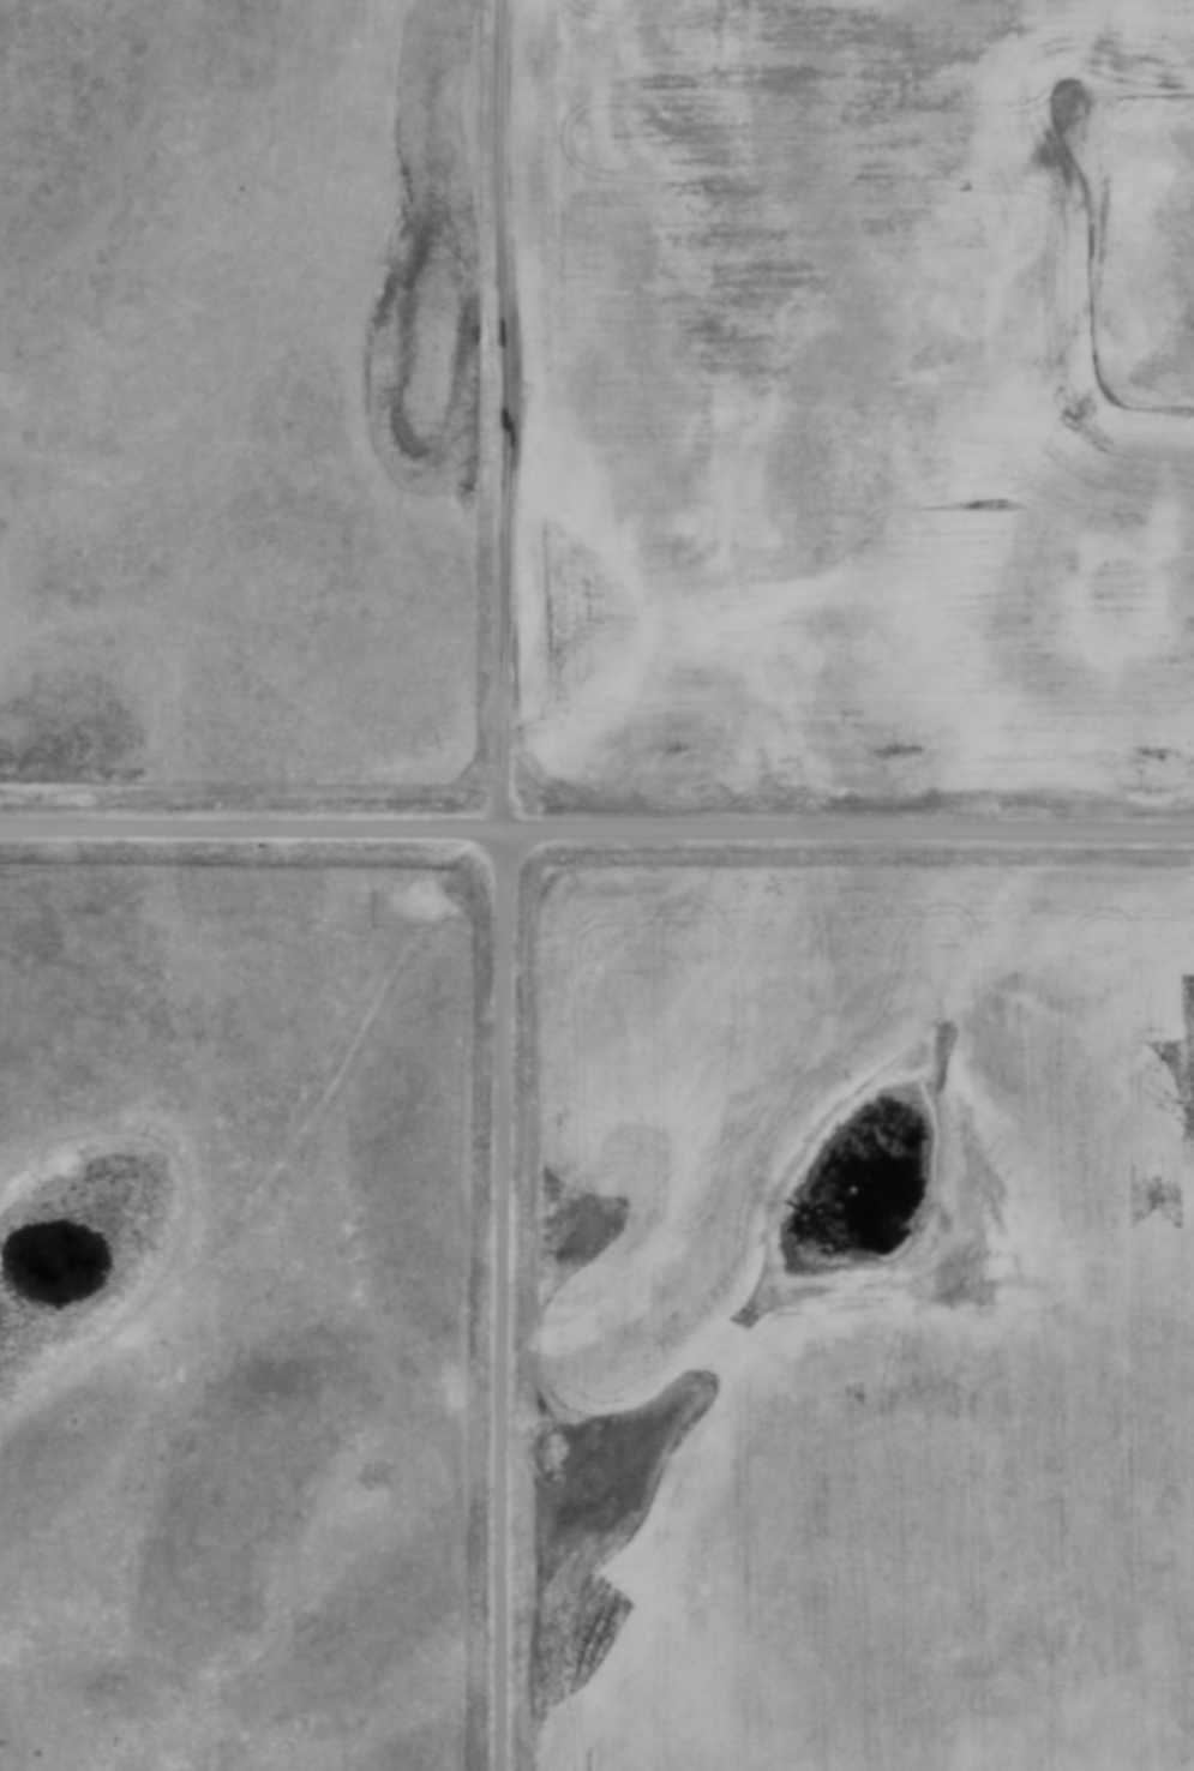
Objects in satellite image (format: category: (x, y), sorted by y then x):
road: (508, 414)
road: (596, 830)
road: (502, 1299)

